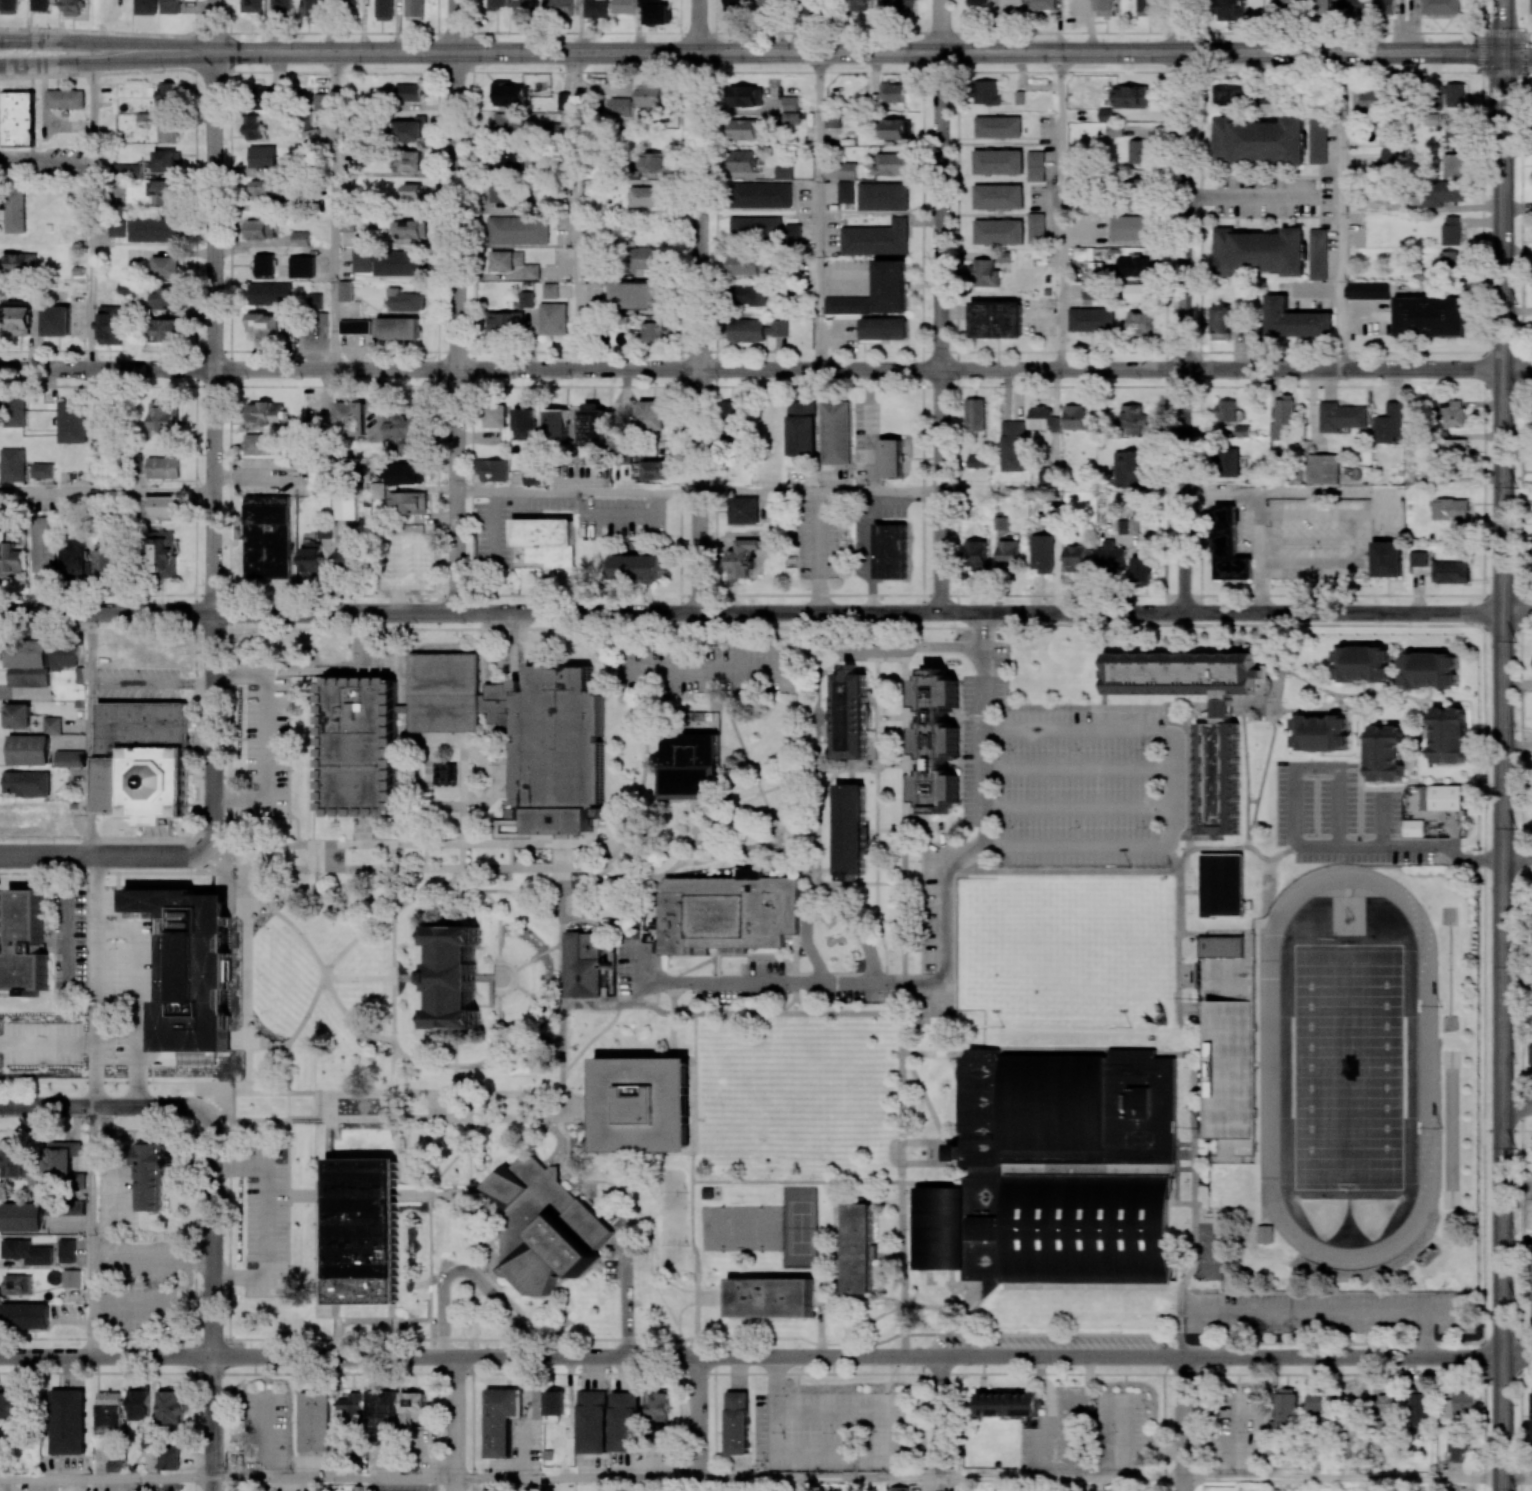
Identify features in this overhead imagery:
building: (348, 2)
building: (521, 3)
building: (982, 4)
building: (1011, 4)
building: (1042, 4)
building: (40, 5)
building: (251, 5)
building: (496, 5)
building: (763, 5)
building: (857, 5)
building: (8, 6)
building: (282, 6)
building: (623, 6)
building: (1282, 6)
building: (1351, 6)
building: (71, 7)
building: (146, 7)
building: (171, 7)
building: (561, 7)
building: (734, 7)
building: (905, 7)
building: (1147, 7)
building: (1317, 7)
building: (1384, 7)
building: (1441, 7)
building: (1531, 7)
building: (312, 8)
building: (596, 8)
building: (808, 8)
building: (1105, 8)
building: (415, 9)
building: (384, 10)
building: (1229, 10)
building: (656, 12)
road: (212, 26)
road: (454, 26)
road: (696, 26)
road: (938, 26)
road: (1184, 26)
road: (1502, 27)
road: (106, 42)
road: (857, 52)
traffic signals: (1502, 54)
road: (1517, 54)
road: (106, 62)
road: (765, 71)
building: (408, 92)
building: (892, 92)
building: (987, 92)
building: (510, 94)
building: (1230, 95)
building: (1454, 95)
building: (168, 96)
building: (746, 96)
building: (1131, 96)
building: (65, 97)
building: (265, 98)
building: (1370, 101)
building: (320, 102)
building: (1272, 102)
building: (789, 103)
building: (620, 106)
building: (1106, 114)
building: (18, 118)
building: (791, 118)
building: (512, 124)
building: (998, 126)
building: (254, 127)
building: (746, 129)
building: (896, 129)
building: (411, 130)
building: (1114, 130)
building: (167, 131)
building: (1454, 131)
building: (1260, 140)
building: (1318, 140)
building: (1137, 151)
building: (262, 156)
building: (509, 157)
building: (1388, 158)
road: (45, 160)
building: (407, 160)
building: (167, 161)
building: (742, 161)
building: (655, 162)
building: (998, 162)
building: (892, 164)
building: (1453, 164)
building: (1036, 166)
building: (126, 170)
building: (847, 170)
building: (783, 171)
building: (265, 188)
building: (412, 191)
building: (163, 192)
building: (846, 192)
building: (1440, 192)
building: (500, 193)
building: (760, 194)
building: (883, 196)
building: (647, 197)
building: (998, 197)
road: (1250, 197)
building: (1531, 198)
road: (331, 210)
road: (576, 210)
road: (816, 210)
road: (1059, 210)
building: (15, 211)
road: (1340, 211)
road: (90, 215)
building: (754, 227)
building: (1036, 227)
building: (1128, 227)
building: (116, 228)
building: (152, 228)
building: (261, 229)
building: (409, 229)
building: (518, 230)
building: (1451, 230)
building: (998, 231)
building: (793, 234)
building: (300, 238)
building: (876, 238)
building: (1260, 251)
building: (1317, 254)
building: (648, 257)
building: (362, 260)
building: (506, 260)
building: (1450, 261)
building: (21, 263)
building: (397, 263)
building: (263, 264)
building: (742, 264)
building: (1133, 265)
building: (165, 267)
building: (531, 271)
building: (984, 272)
road: (842, 281)
building: (891, 286)
building: (345, 290)
building: (550, 290)
building: (1091, 290)
building: (1369, 290)
building: (1137, 292)
building: (269, 293)
road: (1449, 293)
building: (638, 294)
building: (746, 294)
building: (165, 297)
building: (526, 299)
building: (315, 300)
building: (405, 301)
building: (847, 305)
building: (1431, 316)
building: (19, 318)
building: (553, 319)
building: (997, 319)
building: (1091, 319)
building: (56, 320)
building: (1295, 320)
building: (1221, 322)
building: (503, 323)
building: (1139, 323)
building: (265, 324)
building: (109, 325)
building: (355, 326)
building: (397, 328)
building: (884, 328)
building: (756, 329)
building: (167, 330)
road: (454, 331)
road: (698, 331)
road: (212, 332)
building: (656, 332)
road: (941, 332)
road: (1184, 332)
road: (1503, 332)
road: (830, 336)
road: (364, 346)
road: (94, 351)
road: (349, 367)
road: (1101, 368)
road: (1518, 369)
building: (1226, 410)
building: (13, 411)
building: (1454, 413)
building: (264, 414)
building: (976, 414)
building: (653, 415)
building: (1282, 415)
building: (495, 416)
building: (1340, 416)
building: (729, 417)
building: (1077, 417)
building: (351, 418)
building: (163, 419)
building: (1043, 419)
building: (1134, 419)
building: (525, 421)
building: (72, 422)
building: (557, 424)
building: (593, 424)
building: (1389, 424)
building: (801, 428)
road: (872, 429)
building: (1242, 431)
building: (406, 432)
building: (834, 432)
building: (258, 443)
building: (1451, 450)
building: (891, 458)
building: (977, 461)
building: (1228, 462)
building: (12, 464)
building: (163, 467)
building: (1127, 468)
building: (1323, 468)
building: (493, 469)
building: (42, 470)
building: (652, 471)
building: (403, 473)
building: (1047, 476)
building: (533, 477)
road: (106, 490)
building: (377, 490)
road: (577, 490)
road: (820, 491)
road: (1289, 491)
building: (408, 502)
building: (163, 506)
building: (345, 507)
building: (1450, 509)
building: (743, 510)
building: (267, 536)
building: (546, 541)
building: (42, 544)
road: (874, 544)
building: (1228, 546)
building: (890, 551)
building: (1009, 552)
building: (161, 553)
building: (1042, 553)
building: (976, 554)
building: (1110, 556)
building: (75, 557)
building: (347, 557)
building: (741, 557)
building: (106, 558)
building: (414, 558)
building: (1078, 558)
building: (1417, 558)
building: (10, 559)
road: (820, 559)
building: (1387, 559)
building: (312, 560)
building: (638, 567)
building: (1142, 570)
building: (1451, 572)
road: (765, 595)
road: (349, 611)
road: (1101, 612)
road: (1518, 612)
building: (29, 650)
building: (64, 656)
road: (799, 664)
building: (1362, 664)
building: (1429, 670)
road: (151, 682)
building: (446, 688)
building: (19, 716)
building: (851, 717)
building: (52, 725)
road: (212, 731)
road: (91, 733)
building: (1320, 733)
building: (1447, 735)
road: (265, 736)
building: (936, 744)
building: (30, 747)
building: (360, 749)
building: (1385, 753)
building: (556, 755)
building: (68, 758)
road: (750, 763)
building: (145, 764)
building: (691, 765)
road: (1079, 768)
parking lot: (1069, 779)
building: (1218, 779)
building: (27, 783)
road: (1175, 789)
building: (1440, 797)
road: (1079, 808)
parking lot: (1340, 817)
road: (876, 818)
road: (1381, 820)
building: (1413, 827)
building: (850, 831)
road: (475, 844)
road: (1303, 844)
road: (104, 854)
road: (283, 854)
road: (1518, 856)
road: (1520, 856)
road: (1215, 857)
road: (1236, 857)
road: (377, 866)
road: (1267, 878)
road: (445, 882)
building: (1221, 885)
road: (498, 890)
road: (829, 891)
road: (1210, 891)
building: (727, 913)
road: (1223, 914)
road: (499, 923)
road: (947, 935)
park: (1065, 941)
building: (25, 944)
building: (1221, 946)
road: (538, 956)
building: (584, 964)
building: (192, 972)
road: (376, 976)
road: (516, 977)
road: (91, 980)
building: (453, 981)
road: (246, 993)
road: (538, 999)
road: (731, 1012)
road: (349, 1018)
building: (35, 1029)
road: (45, 1045)
road: (279, 1047)
road: (1503, 1051)
building: (1530, 1053)
road: (1050, 1054)
road: (406, 1056)
road: (525, 1061)
road: (457, 1064)
track: (1426, 1066)
building: (1229, 1067)
park: (1346, 1067)
park: (1346, 1067)
stadium: (1230, 1068)
road: (242, 1084)
road: (378, 1092)
building: (1055, 1103)
building: (645, 1104)
road: (103, 1105)
road: (1517, 1107)
road: (378, 1119)
road: (940, 1128)
road: (562, 1129)
building: (59, 1156)
building: (12, 1161)
road: (904, 1169)
building: (152, 1177)
road: (434, 1180)
road: (800, 1181)
road: (697, 1184)
road: (288, 1194)
park: (672, 1194)
road: (1182, 1202)
road: (193, 1213)
building: (21, 1218)
road: (265, 1222)
building: (543, 1225)
park: (725, 1226)
park: (801, 1226)
park: (762, 1227)
building: (941, 1227)
building: (1081, 1229)
road: (91, 1230)
building: (1264, 1234)
building: (361, 1238)
park: (674, 1239)
building: (858, 1244)
building: (66, 1250)
building: (26, 1251)
road: (468, 1276)
building: (71, 1278)
building: (14, 1284)
road: (1520, 1286)
building: (769, 1296)
road: (212, 1300)
road: (1328, 1311)
road: (1188, 1312)
building: (24, 1316)
road: (676, 1329)
road: (1104, 1333)
road: (1231, 1333)
road: (105, 1338)
road: (751, 1356)
road: (1517, 1357)
road: (1124, 1374)
building: (137, 1403)
building: (1388, 1403)
building: (1459, 1403)
building: (413, 1404)
building: (554, 1404)
building: (1009, 1404)
building: (1285, 1404)
building: (1318, 1404)
building: (12, 1406)
building: (658, 1406)
building: (1420, 1407)
building: (170, 1408)
building: (383, 1408)
building: (108, 1409)
building: (352, 1409)
building: (501, 1420)
building: (67, 1421)
building: (315, 1421)
building: (592, 1421)
building: (625, 1421)
building: (737, 1422)
road: (456, 1423)
road: (699, 1423)
road: (941, 1423)
road: (1184, 1423)
road: (434, 1431)
building: (150, 1440)
building: (1457, 1446)
building: (167, 1455)
building: (115, 1466)
road: (1343, 1479)
road: (1517, 1479)
road: (105, 1480)
road: (334, 1480)
road: (577, 1480)
road: (820, 1480)
road: (1062, 1480)
building: (898, 1488)
building: (807, 1490)

